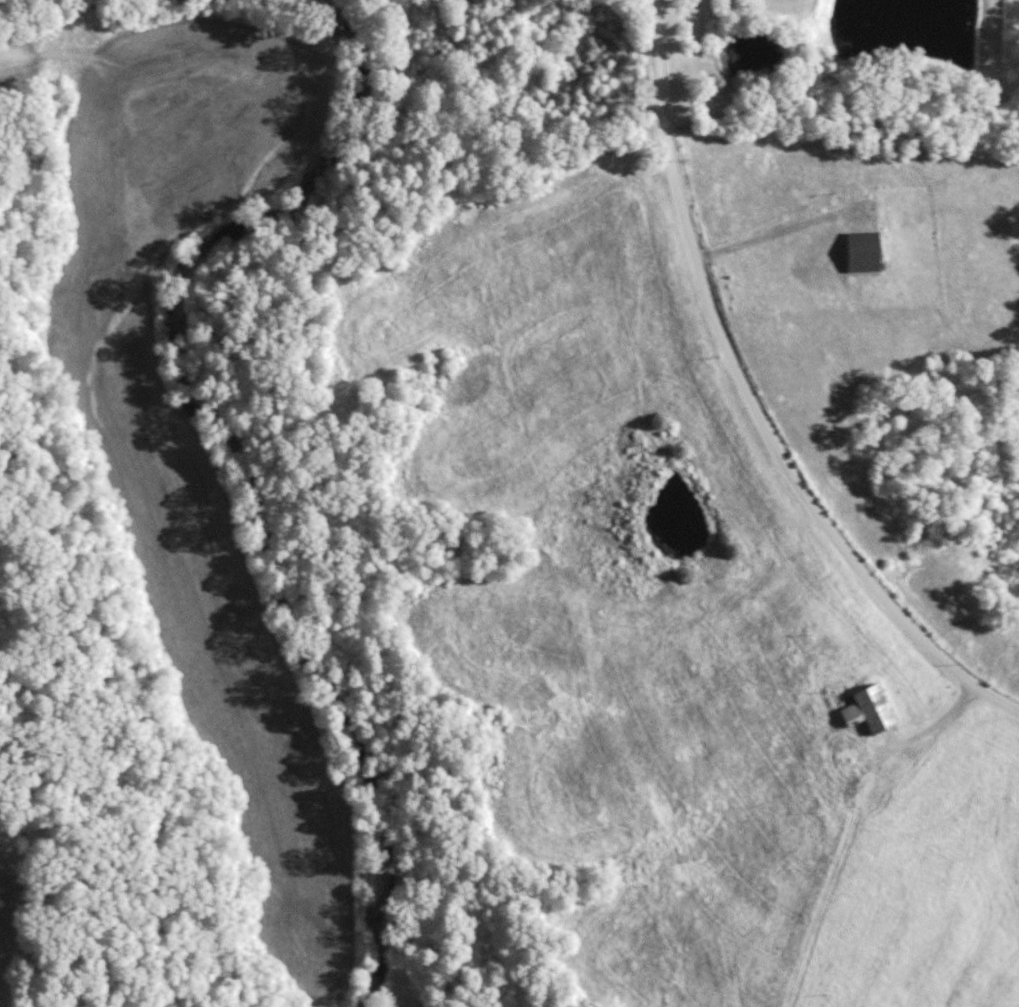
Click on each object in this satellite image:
building: (864, 252)
road: (736, 419)
building: (868, 708)

